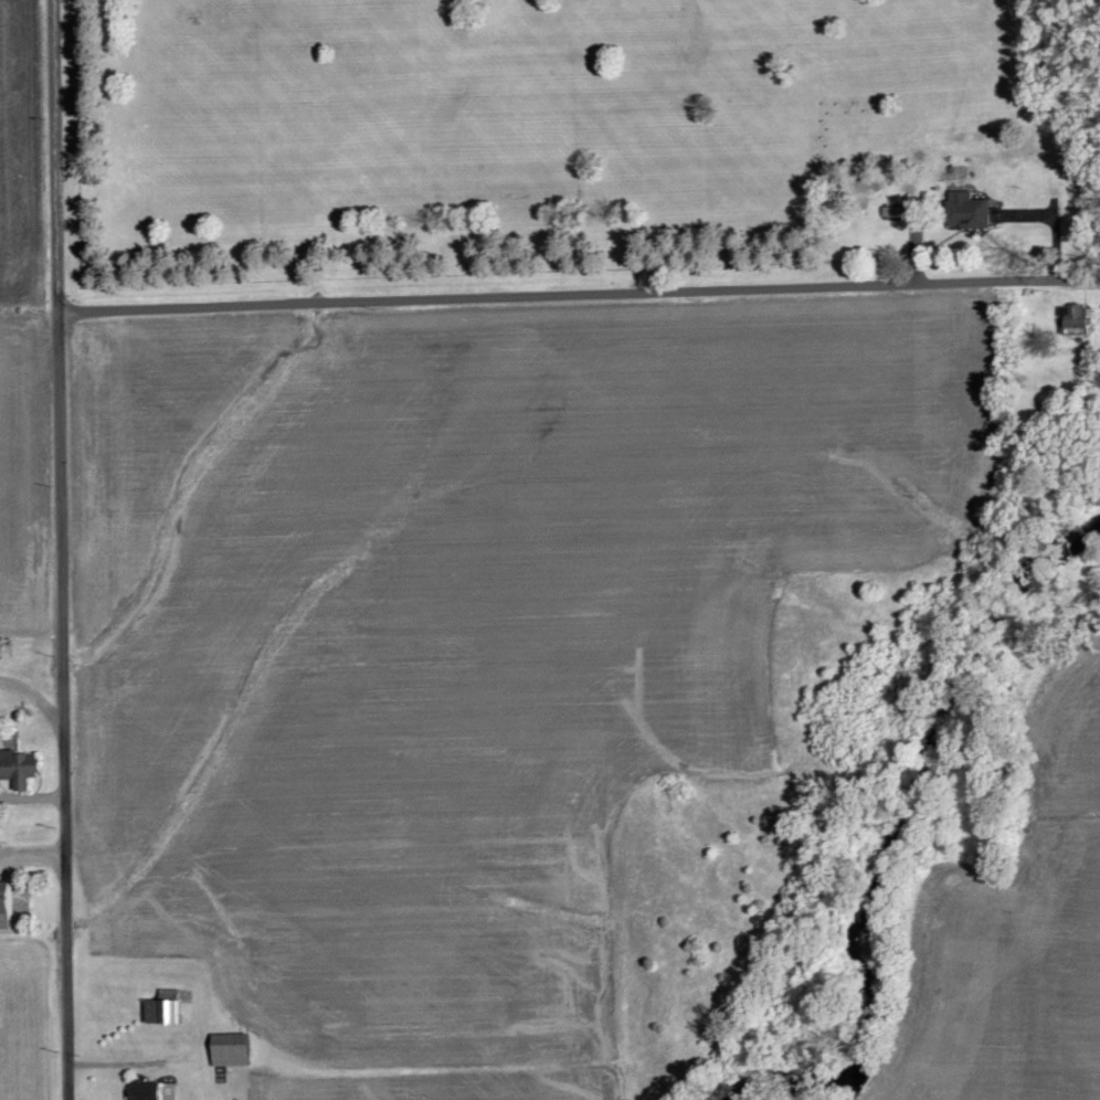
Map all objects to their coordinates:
park: (592, 130)
building: (970, 210)
building: (897, 212)
road: (580, 293)
building: (1076, 320)
road: (62, 549)
road: (36, 696)
building: (20, 766)
road: (32, 854)
building: (8, 905)
building: (167, 1007)
building: (233, 1049)
building: (147, 1090)

